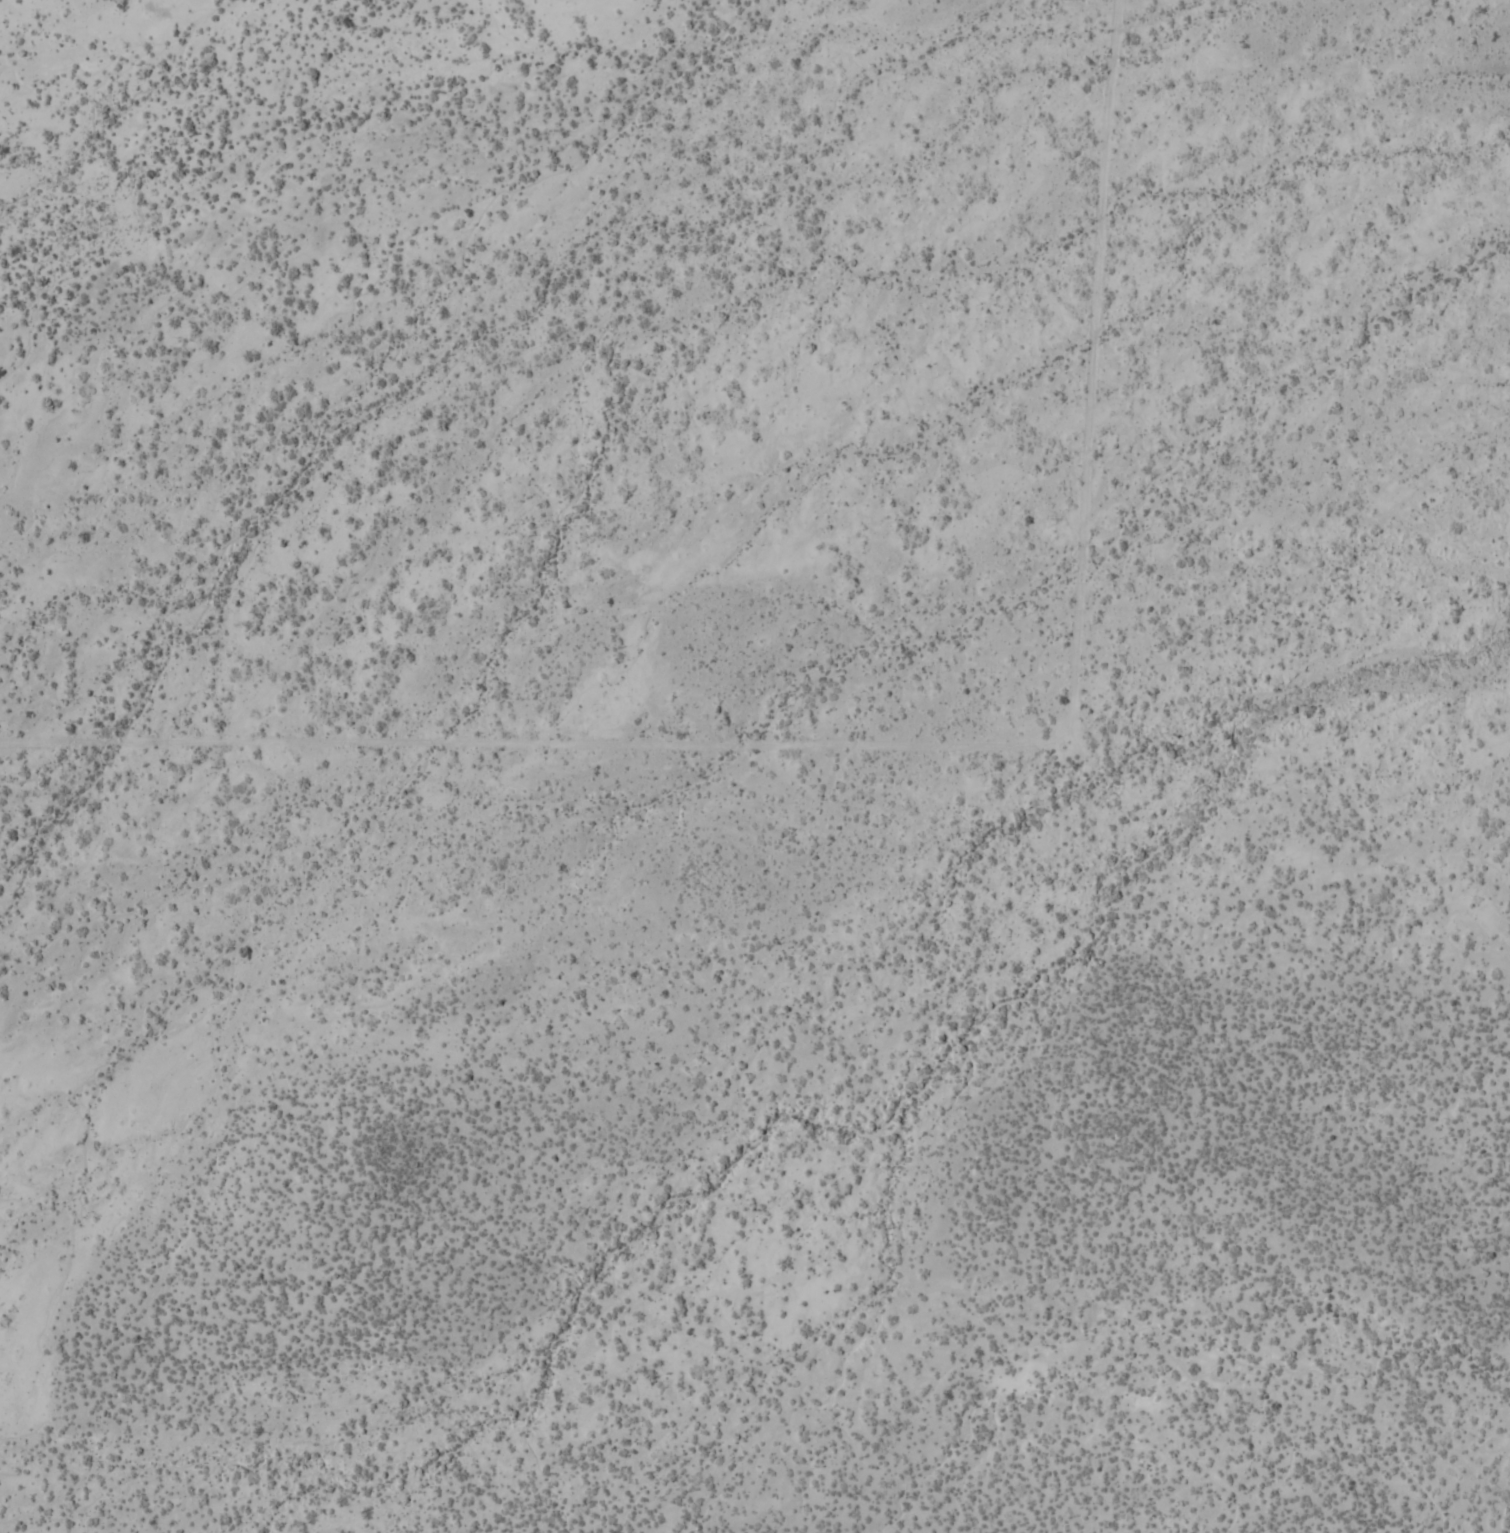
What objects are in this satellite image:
road: (901, 747)

